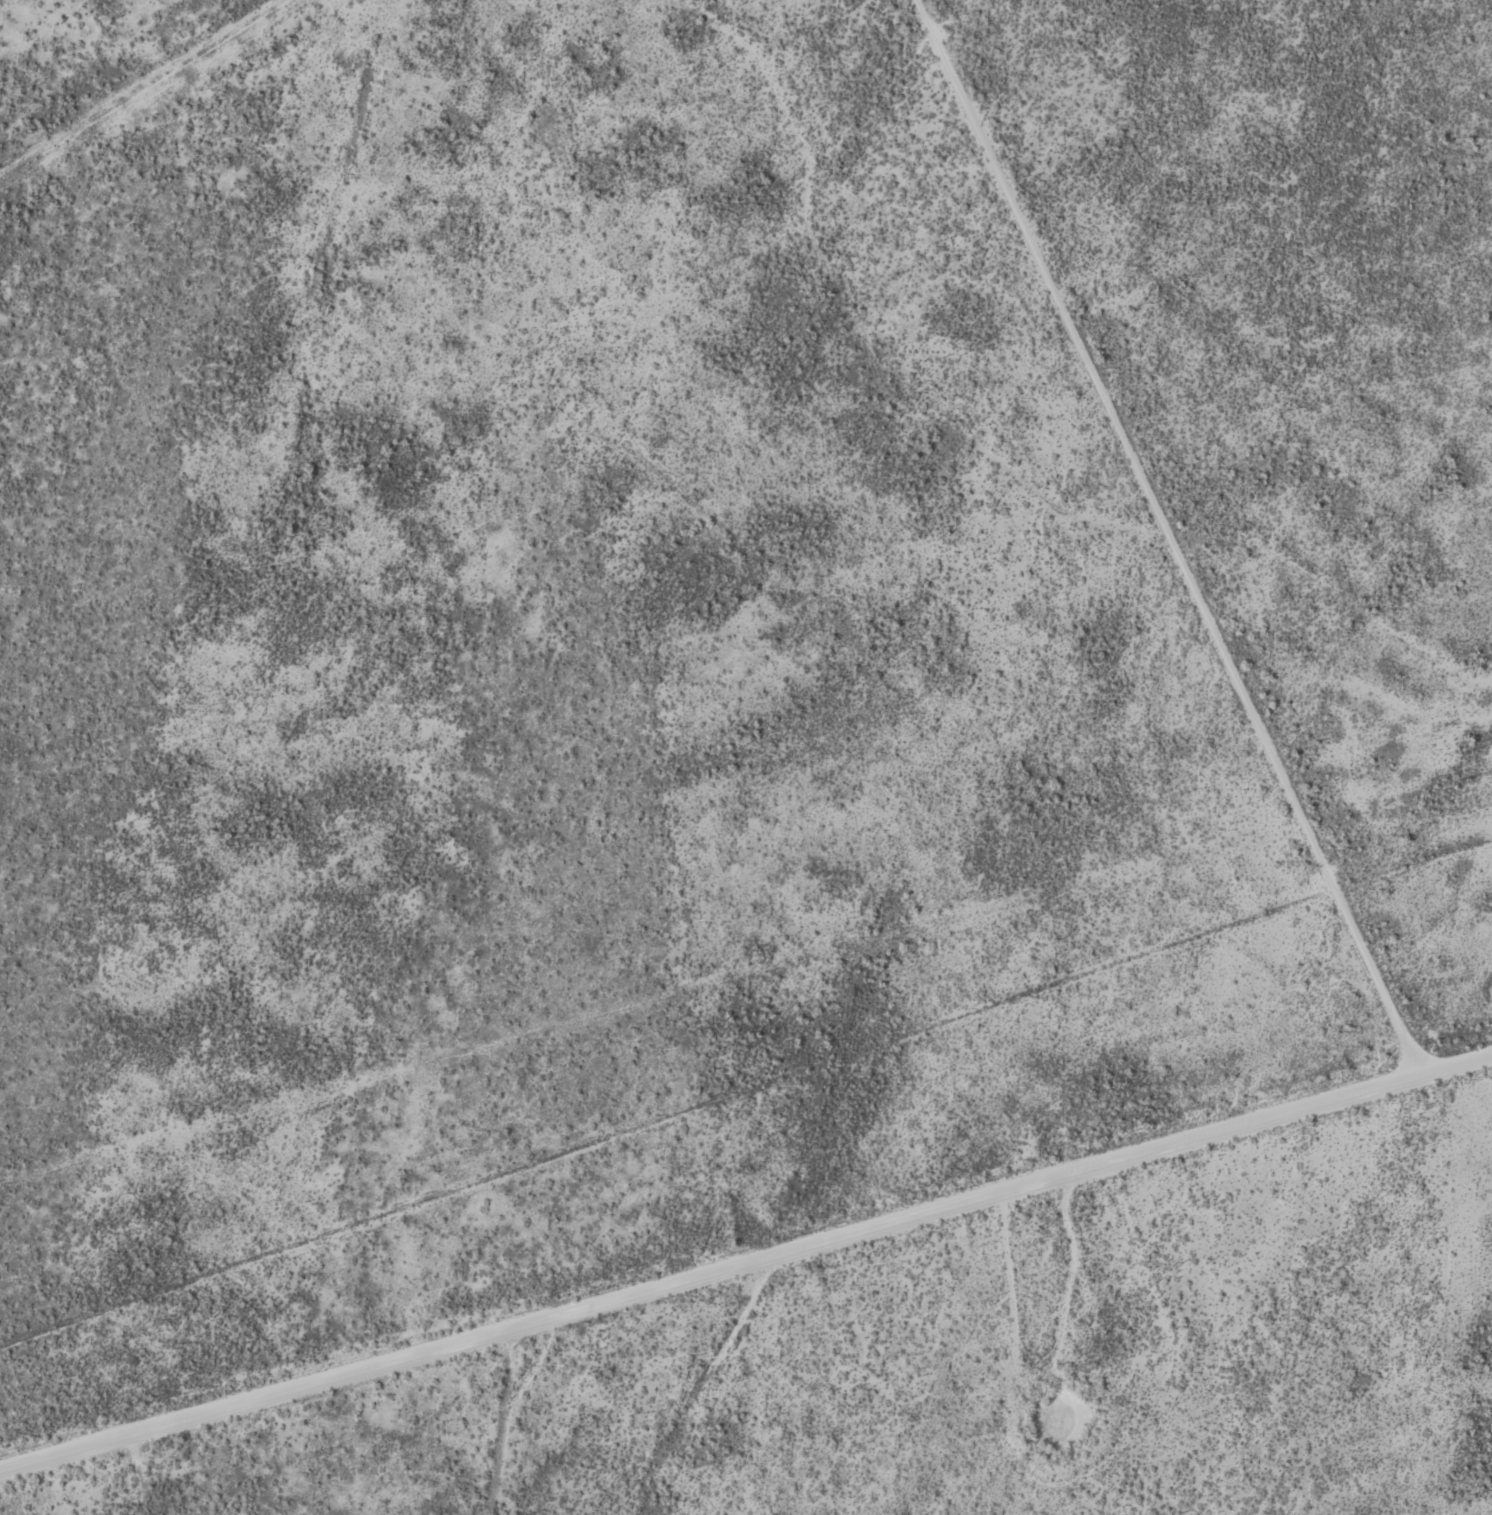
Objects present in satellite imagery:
road: (746, 1271)

